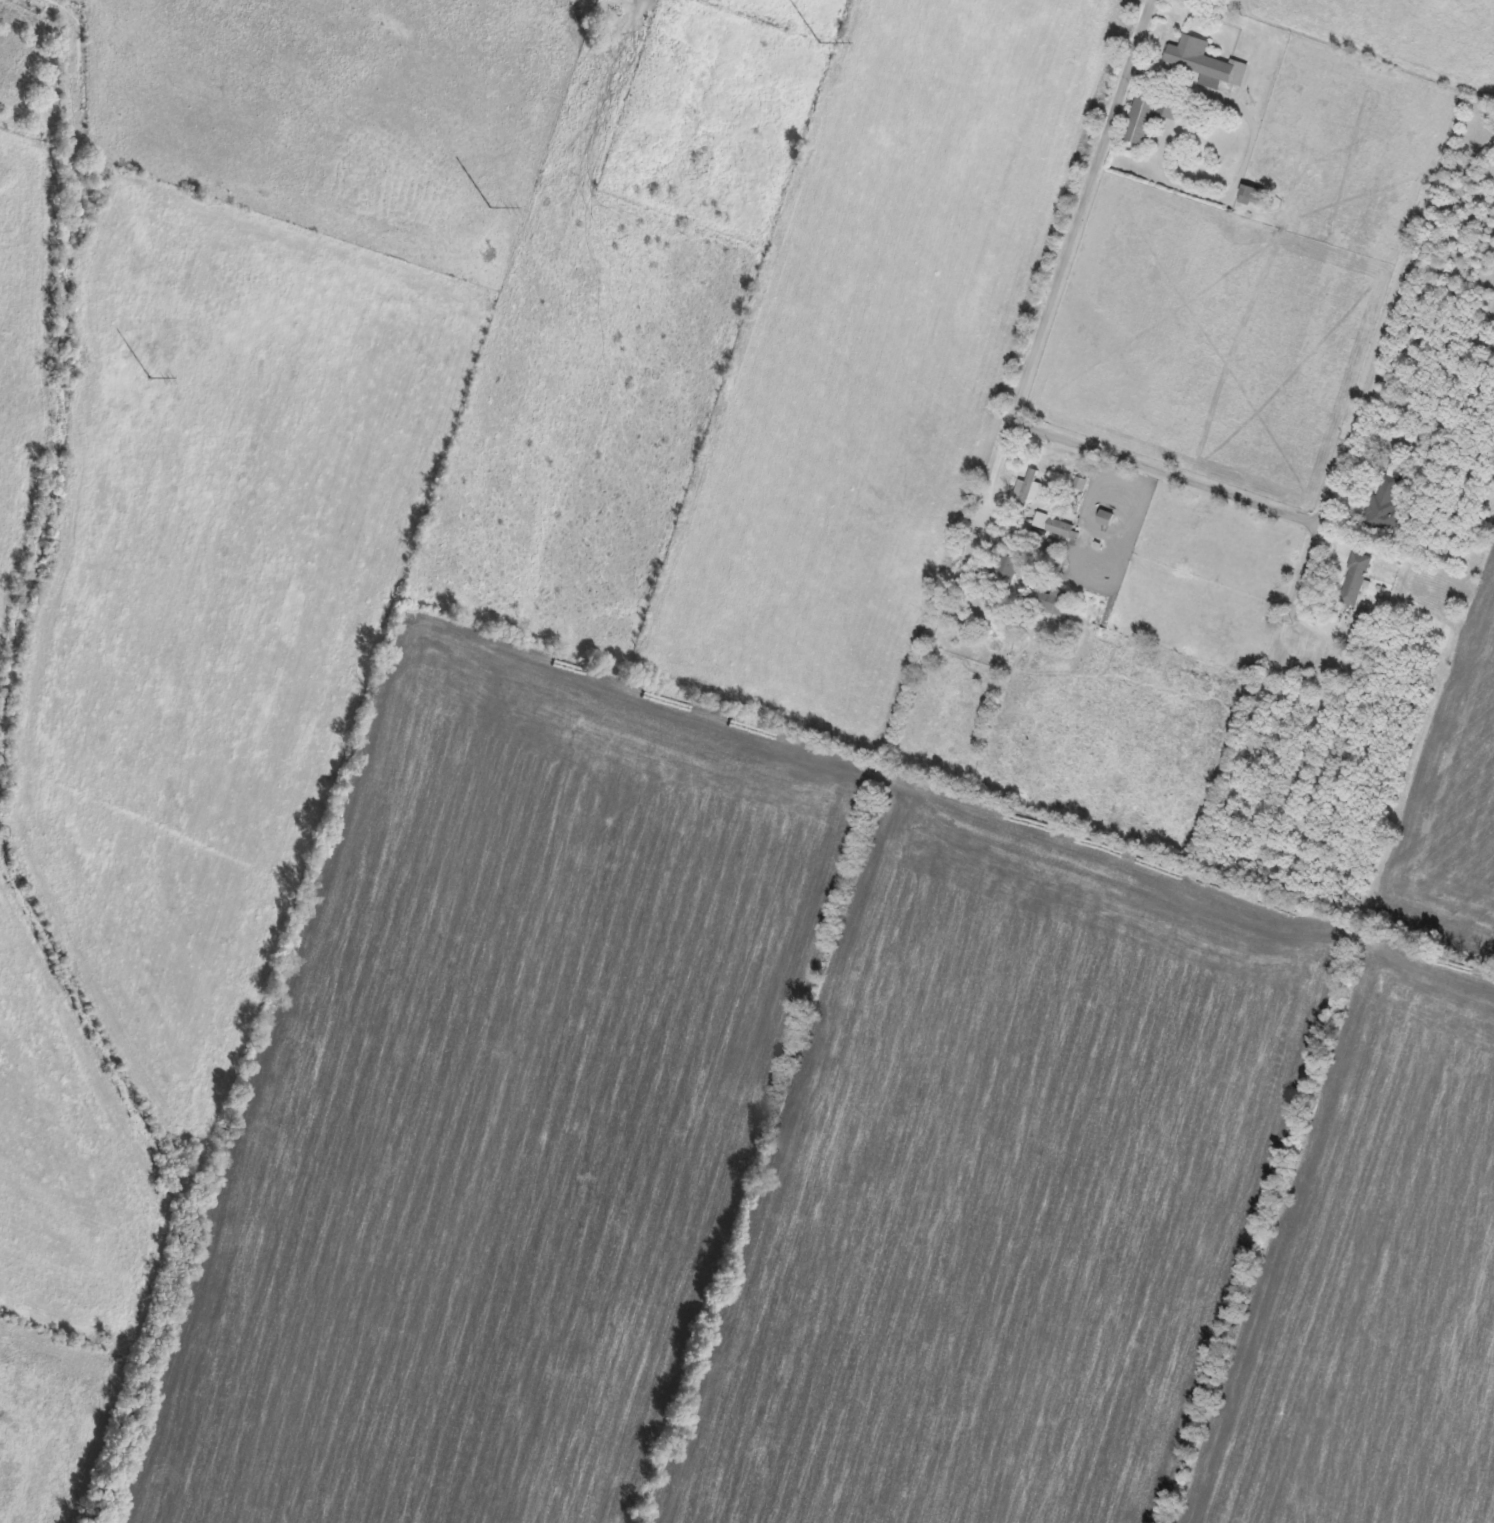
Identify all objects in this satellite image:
building: (637, 0)
power tower: (822, 44)
building: (1205, 63)
building: (1147, 118)
building: (1253, 196)
power tower: (493, 208)
power tower: (152, 379)
road: (1017, 403)
road: (991, 467)
building: (1028, 492)
building: (1384, 509)
building: (1106, 518)
building: (1054, 525)
building: (1008, 571)
building: (1355, 579)
building: (1052, 603)

